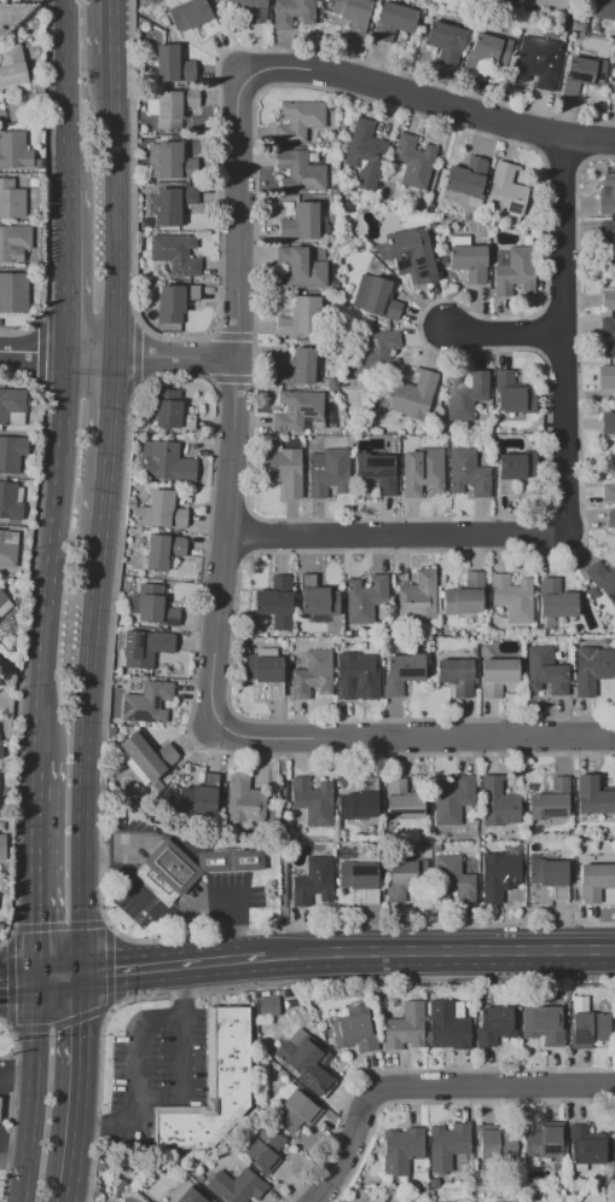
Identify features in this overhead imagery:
building: (509, 0)
building: (573, 0)
building: (318, 4)
building: (327, 4)
building: (547, 4)
building: (250, 8)
building: (604, 8)
building: (291, 11)
building: (188, 15)
building: (353, 15)
building: (164, 22)
building: (391, 22)
road: (116, 25)
building: (576, 27)
building: (445, 42)
building: (486, 52)
building: (536, 63)
building: (172, 65)
building: (11, 68)
building: (582, 73)
building: (614, 73)
road: (68, 94)
road: (429, 100)
building: (173, 106)
building: (298, 121)
road: (544, 134)
road: (590, 139)
building: (364, 146)
building: (13, 150)
road: (564, 156)
building: (313, 157)
building: (169, 162)
building: (411, 162)
building: (300, 172)
building: (466, 178)
road: (43, 180)
building: (505, 190)
road: (217, 192)
building: (607, 195)
building: (11, 200)
road: (118, 202)
building: (173, 204)
building: (146, 221)
building: (300, 221)
road: (544, 221)
building: (608, 237)
building: (526, 239)
building: (13, 243)
building: (175, 254)
building: (408, 255)
building: (466, 259)
building: (301, 270)
building: (514, 270)
road: (65, 271)
building: (333, 287)
building: (13, 293)
building: (375, 297)
building: (608, 300)
building: (173, 302)
road: (559, 308)
building: (300, 318)
building: (369, 320)
road: (540, 330)
road: (501, 333)
road: (562, 334)
road: (232, 335)
building: (608, 335)
road: (40, 351)
road: (117, 352)
road: (137, 353)
road: (559, 354)
building: (377, 356)
building: (295, 368)
building: (607, 376)
road: (228, 377)
building: (413, 394)
building: (464, 395)
building: (512, 397)
road: (233, 398)
building: (12, 406)
building: (297, 409)
building: (172, 416)
building: (608, 423)
building: (317, 424)
road: (114, 438)
building: (394, 449)
building: (11, 453)
building: (164, 461)
building: (515, 469)
building: (284, 470)
building: (327, 472)
building: (422, 472)
building: (376, 473)
building: (468, 473)
road: (123, 475)
building: (614, 480)
building: (11, 501)
road: (227, 508)
building: (159, 512)
building: (610, 519)
road: (248, 533)
road: (391, 534)
building: (8, 549)
road: (352, 550)
building: (161, 551)
road: (225, 554)
road: (52, 556)
building: (602, 580)
building: (592, 593)
building: (464, 595)
building: (418, 596)
building: (512, 597)
building: (365, 599)
building: (555, 600)
building: (274, 602)
building: (318, 602)
building: (5, 605)
building: (152, 606)
building: (347, 632)
building: (487, 641)
road: (24, 642)
building: (153, 654)
building: (262, 666)
building: (590, 669)
building: (401, 671)
building: (545, 671)
building: (312, 675)
building: (352, 675)
building: (454, 675)
building: (497, 676)
building: (147, 703)
road: (413, 735)
road: (88, 749)
building: (0, 752)
building: (147, 755)
building: (203, 794)
building: (592, 797)
building: (243, 799)
building: (401, 799)
building: (452, 799)
building: (313, 801)
building: (551, 801)
building: (359, 802)
building: (498, 803)
building: (534, 830)
building: (2, 846)
building: (435, 848)
building: (228, 860)
road: (36, 869)
building: (166, 871)
building: (497, 874)
building: (549, 876)
building: (402, 877)
building: (453, 878)
building: (360, 879)
building: (594, 880)
building: (314, 882)
traffic signals: (35, 914)
road: (174, 917)
building: (1, 927)
road: (441, 954)
road: (176, 969)
traffic signals: (114, 975)
road: (60, 977)
road: (17, 978)
traffic signals: (5, 979)
road: (262, 984)
road: (184, 988)
building: (267, 1002)
building: (354, 1010)
building: (343, 1012)
road: (59, 1022)
building: (308, 1023)
building: (614, 1023)
building: (495, 1024)
building: (540, 1024)
building: (586, 1024)
building: (447, 1025)
building: (405, 1027)
building: (313, 1029)
building: (289, 1031)
building: (353, 1033)
traffic signals: (83, 1035)
parking lot: (152, 1061)
building: (304, 1061)
road: (413, 1069)
road: (181, 1080)
road: (138, 1081)
road: (13, 1085)
building: (211, 1086)
road: (489, 1086)
road: (77, 1088)
road: (27, 1090)
road: (442, 1099)
road: (12, 1103)
building: (295, 1111)
building: (614, 1139)
building: (544, 1140)
parking lot: (0, 1143)
building: (495, 1144)
building: (448, 1145)
building: (587, 1146)
building: (263, 1148)
building: (401, 1150)
road: (344, 1152)
building: (100, 1167)
building: (608, 1169)
building: (124, 1172)
building: (199, 1178)
building: (115, 1181)
building: (236, 1186)
building: (193, 1195)

